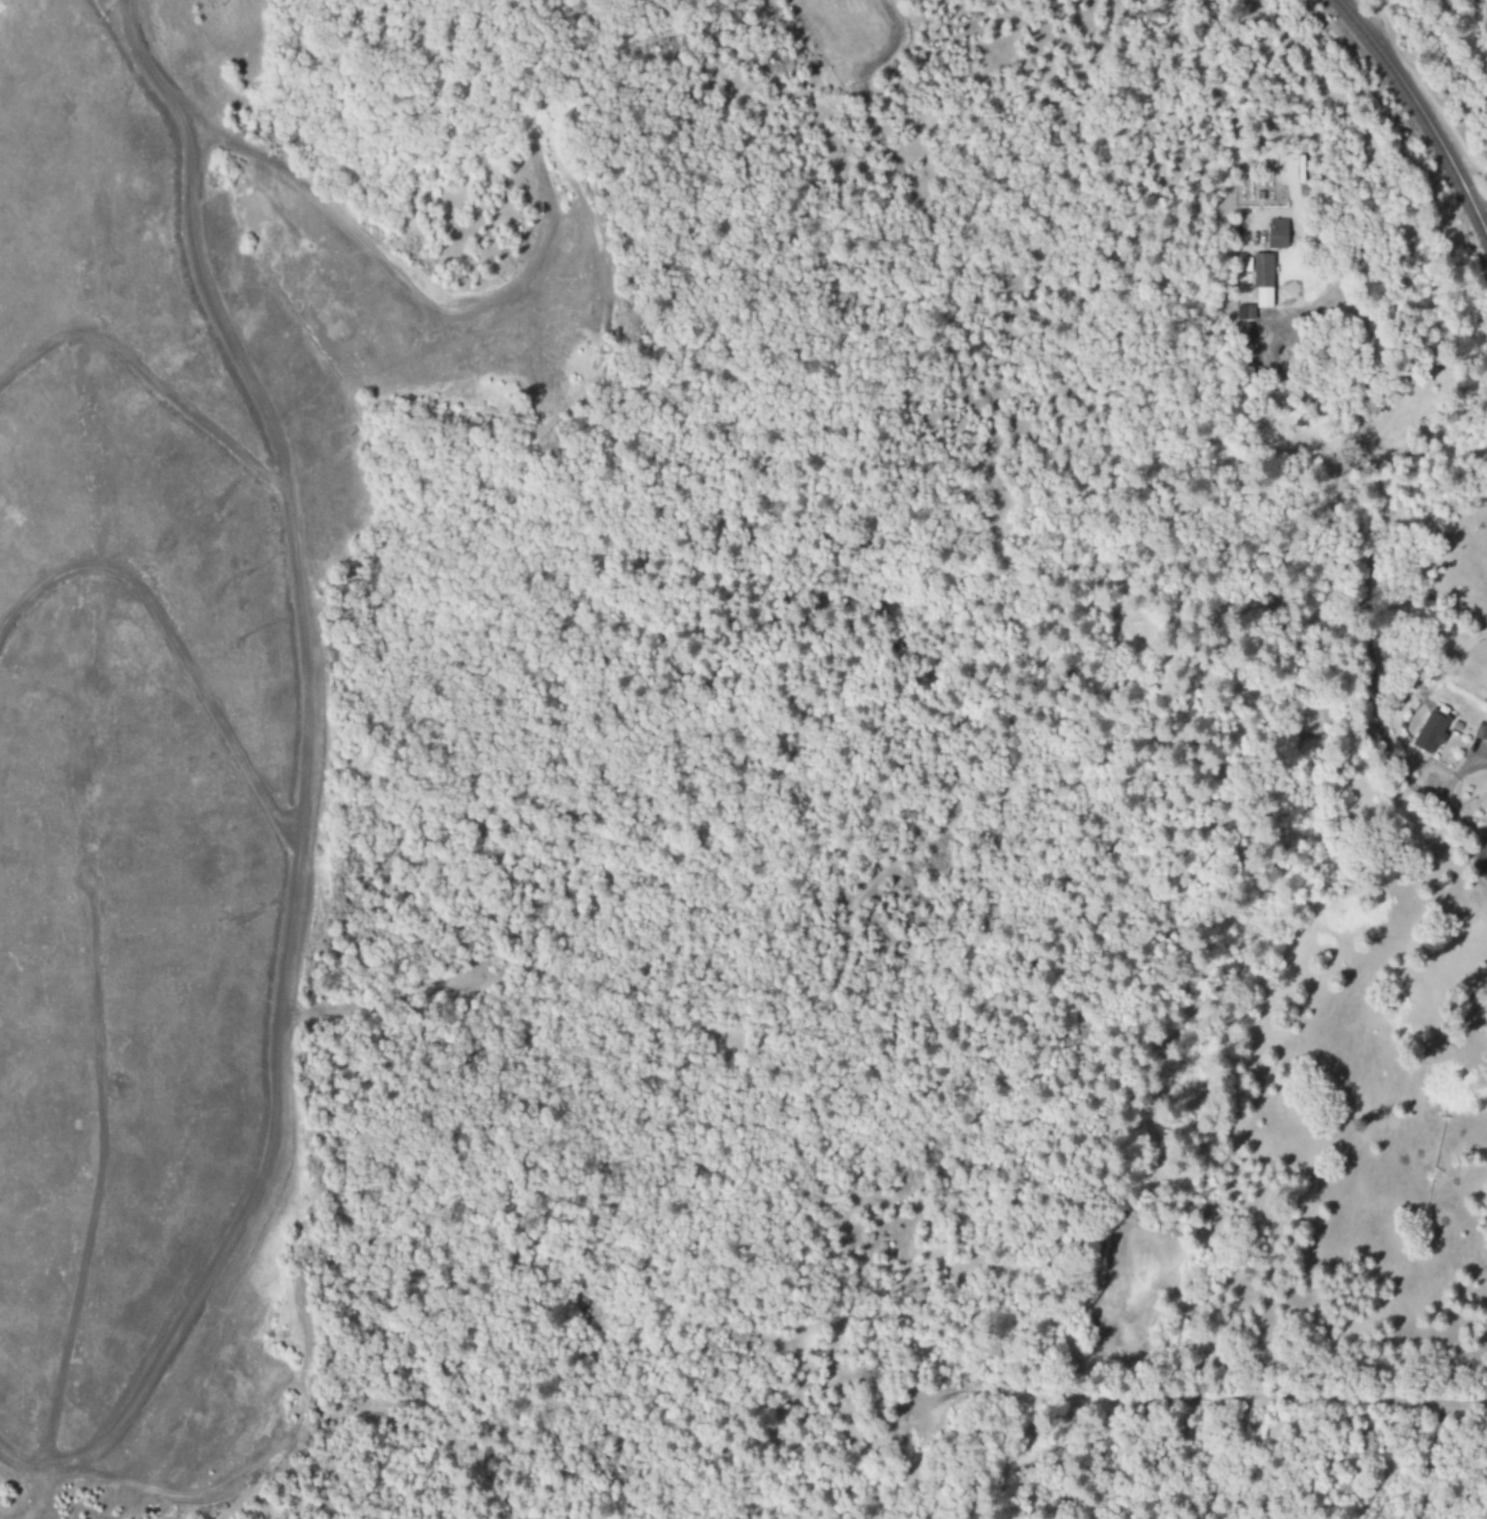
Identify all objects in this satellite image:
railway: (1419, 114)
building: (1276, 233)
building: (1261, 279)
building: (1245, 312)
building: (1430, 732)
building: (1483, 732)

